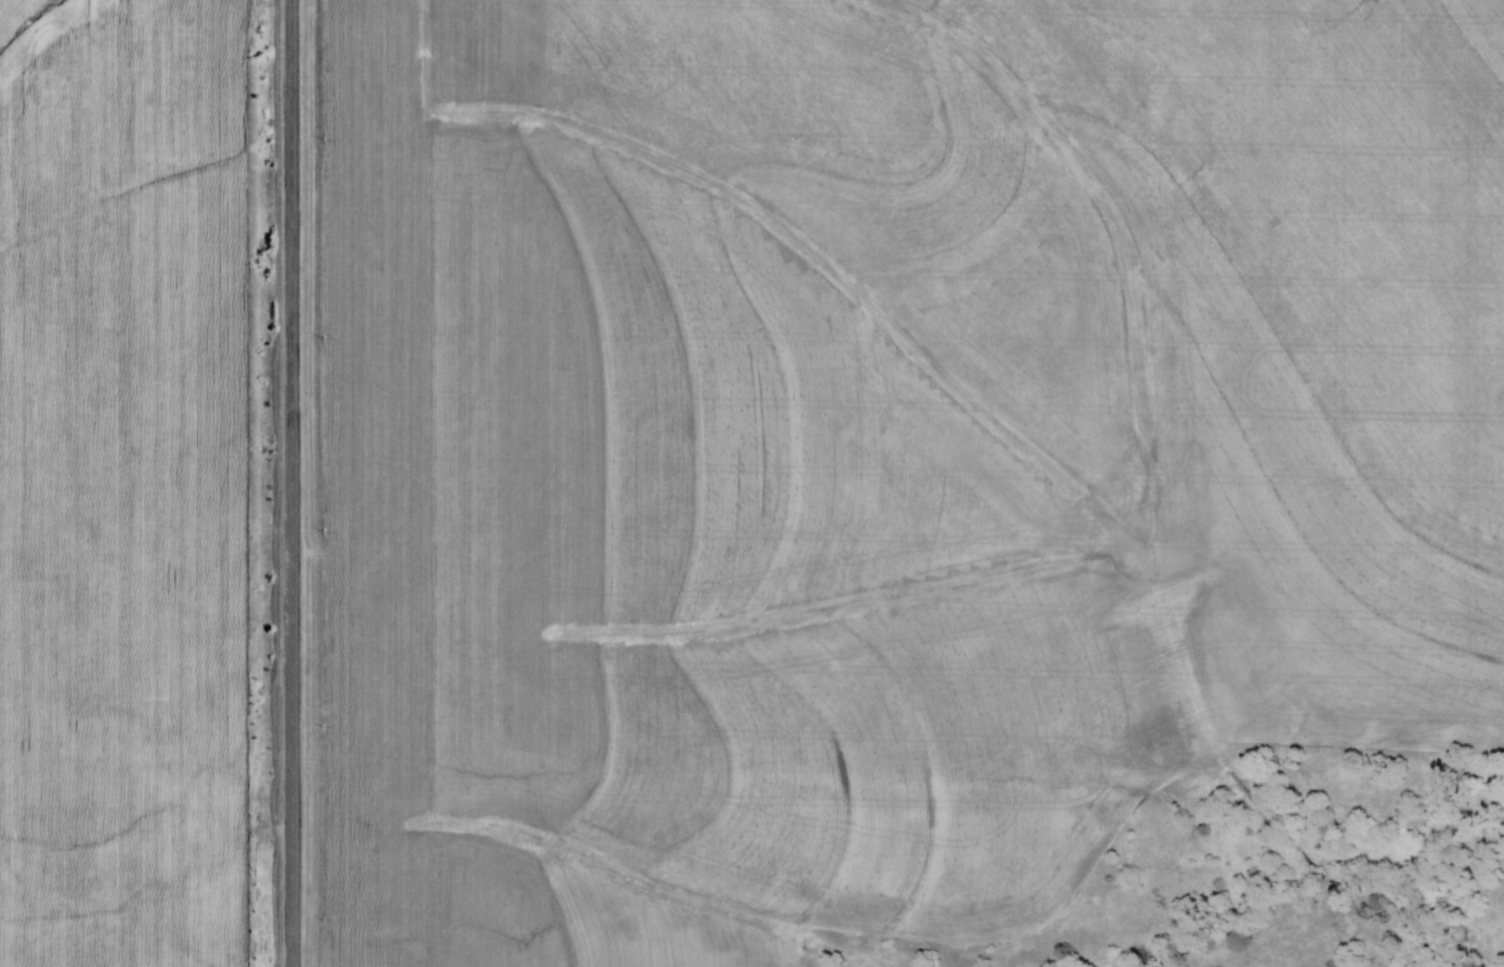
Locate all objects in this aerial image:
road: (287, 483)

